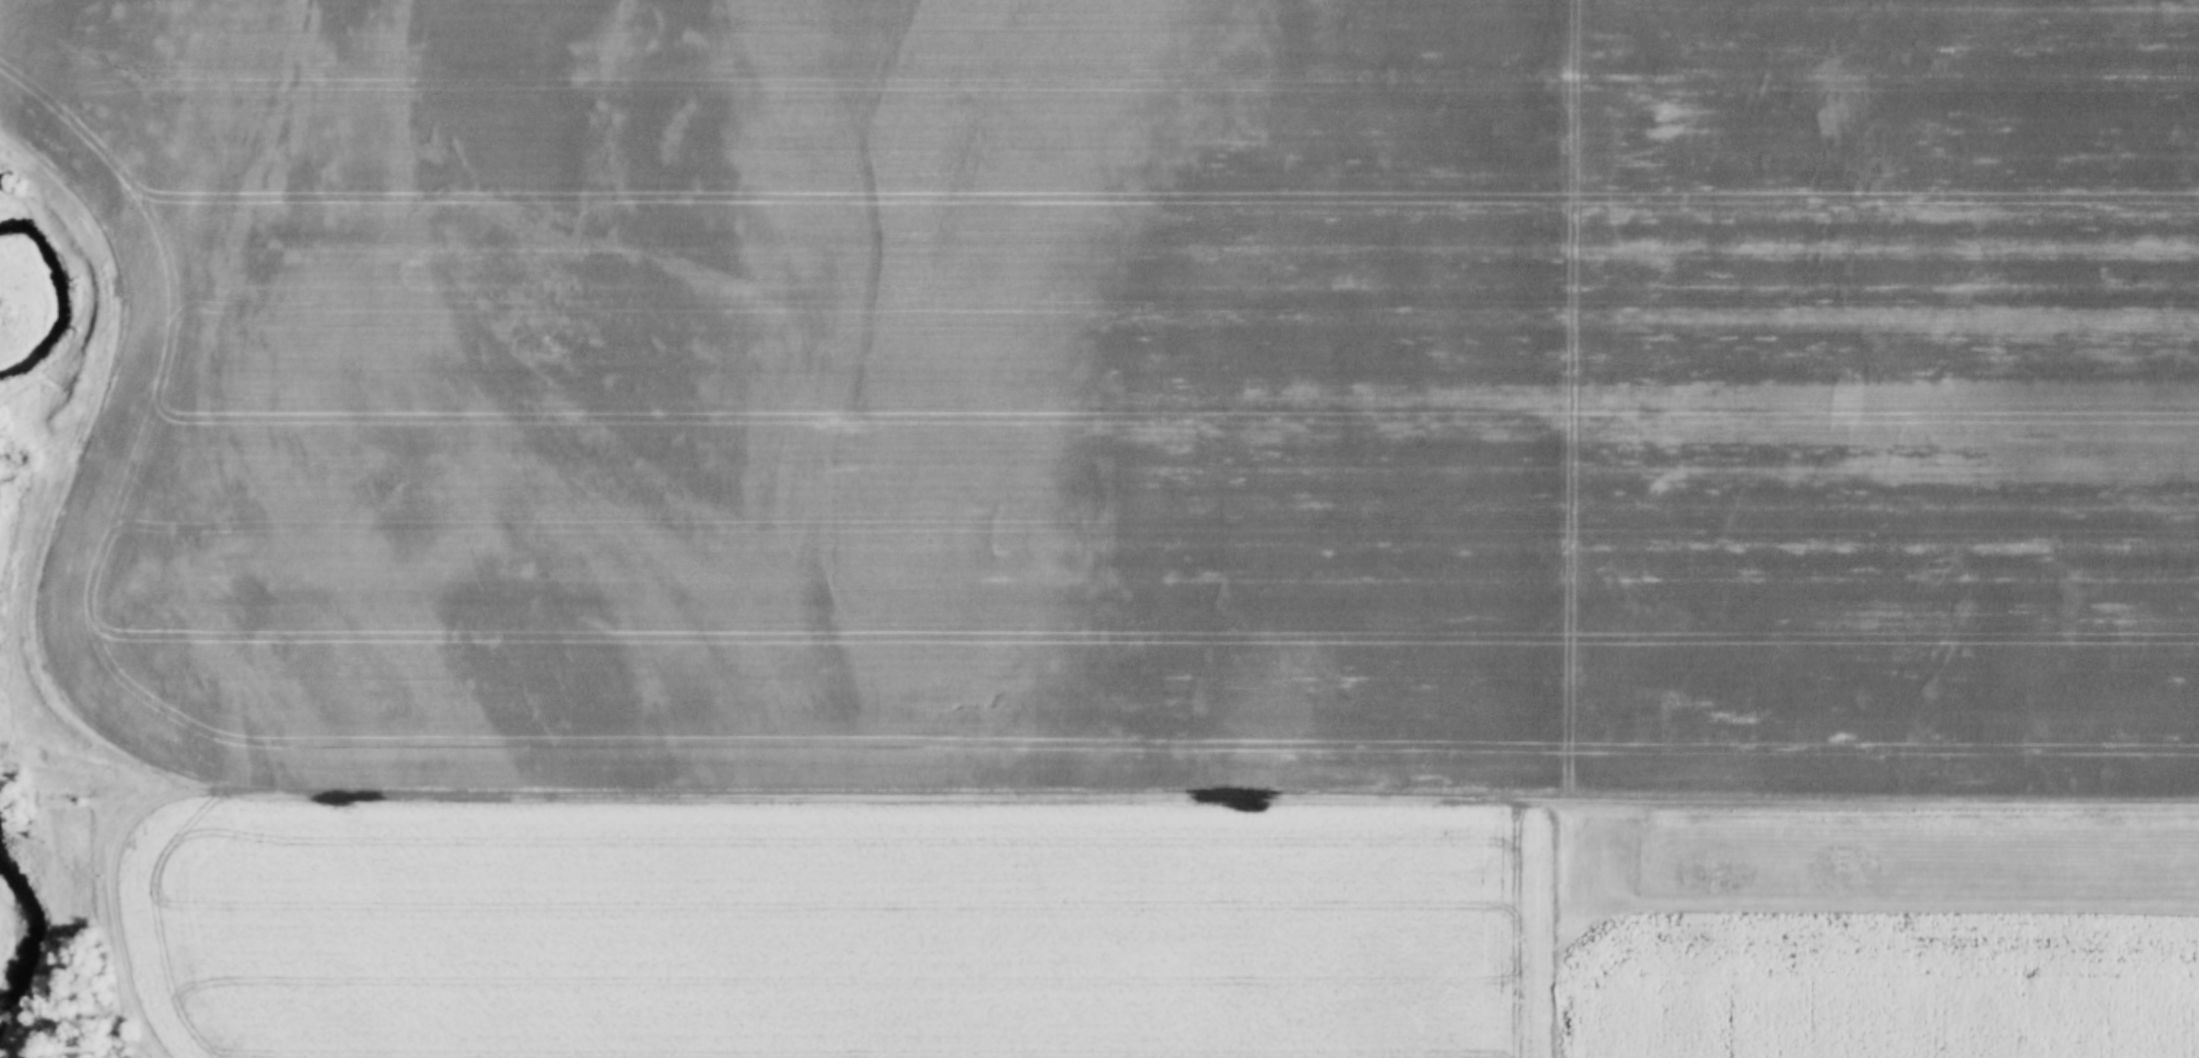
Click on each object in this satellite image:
road: (1583, 402)
road: (1128, 807)
airport runway: (1897, 859)
airport: (1878, 861)

